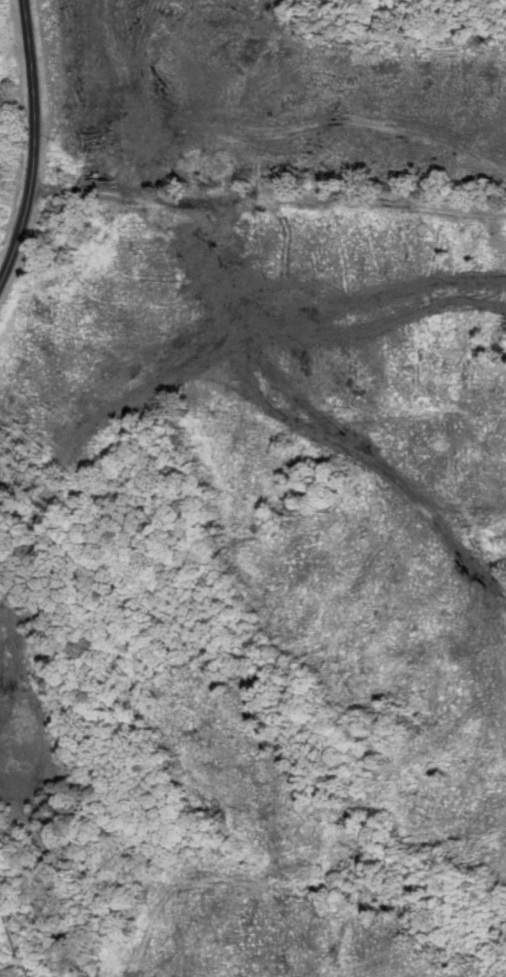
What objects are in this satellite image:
road: (34, 144)

